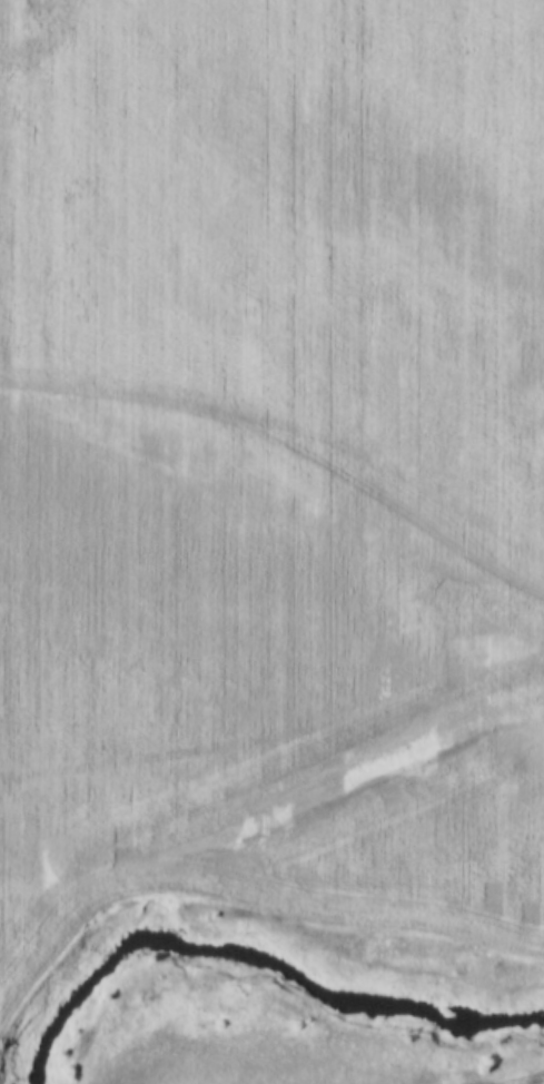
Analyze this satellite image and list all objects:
river: (286, 963)

